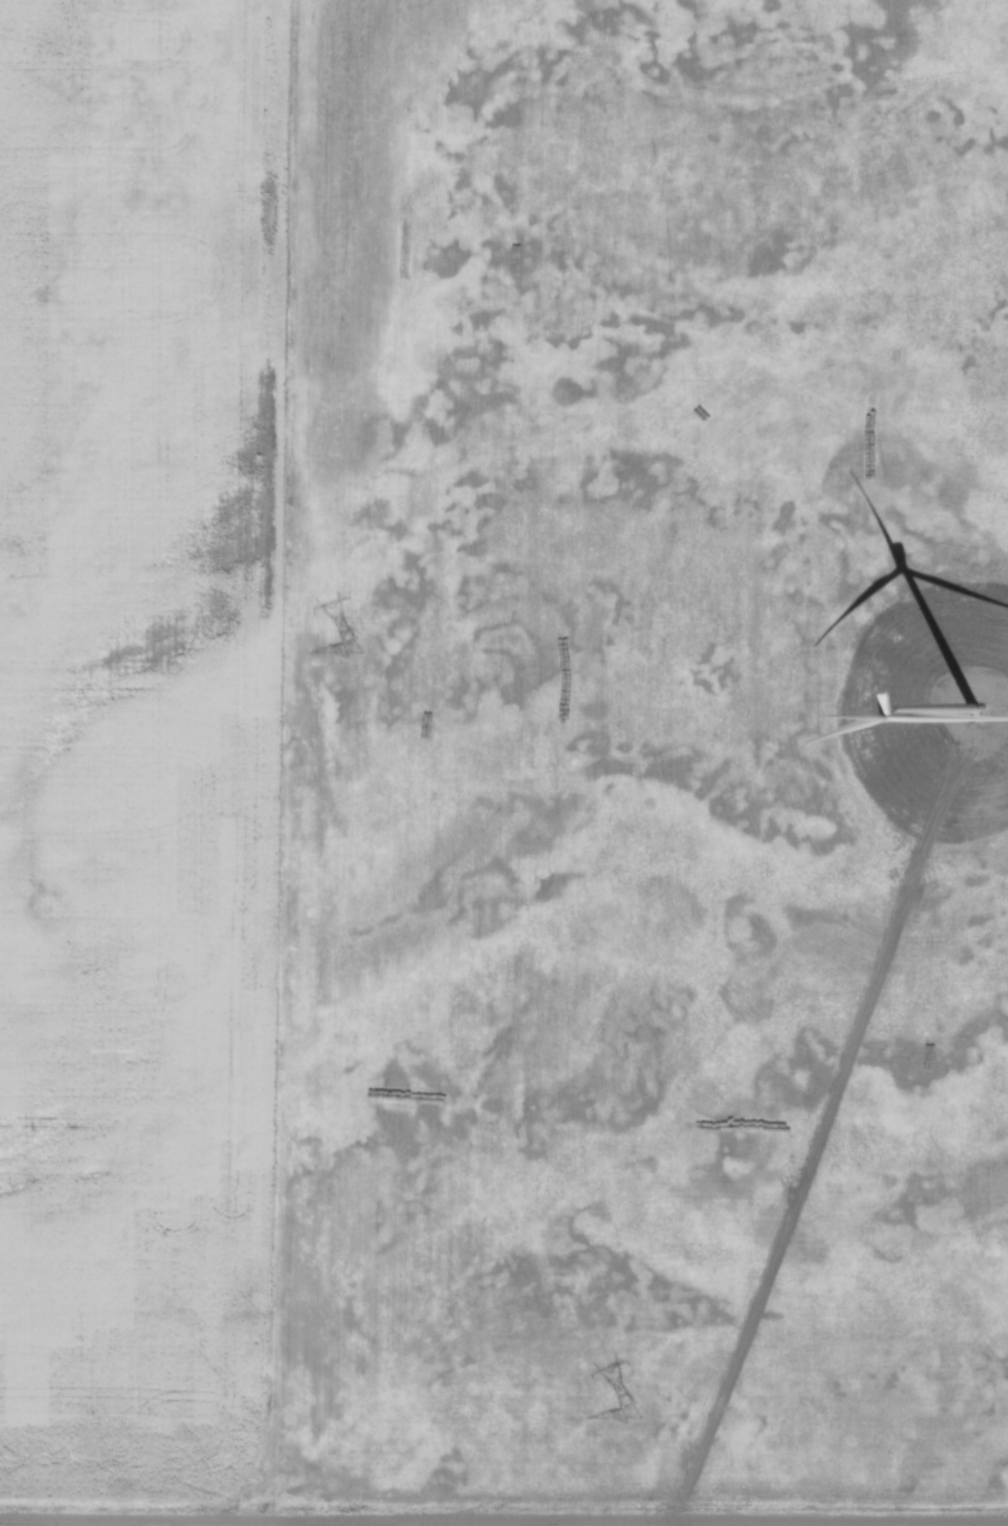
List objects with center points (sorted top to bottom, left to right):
power tower: (352, 649)
wind turbine: (971, 709)
power tower: (633, 1416)
road: (134, 1520)

